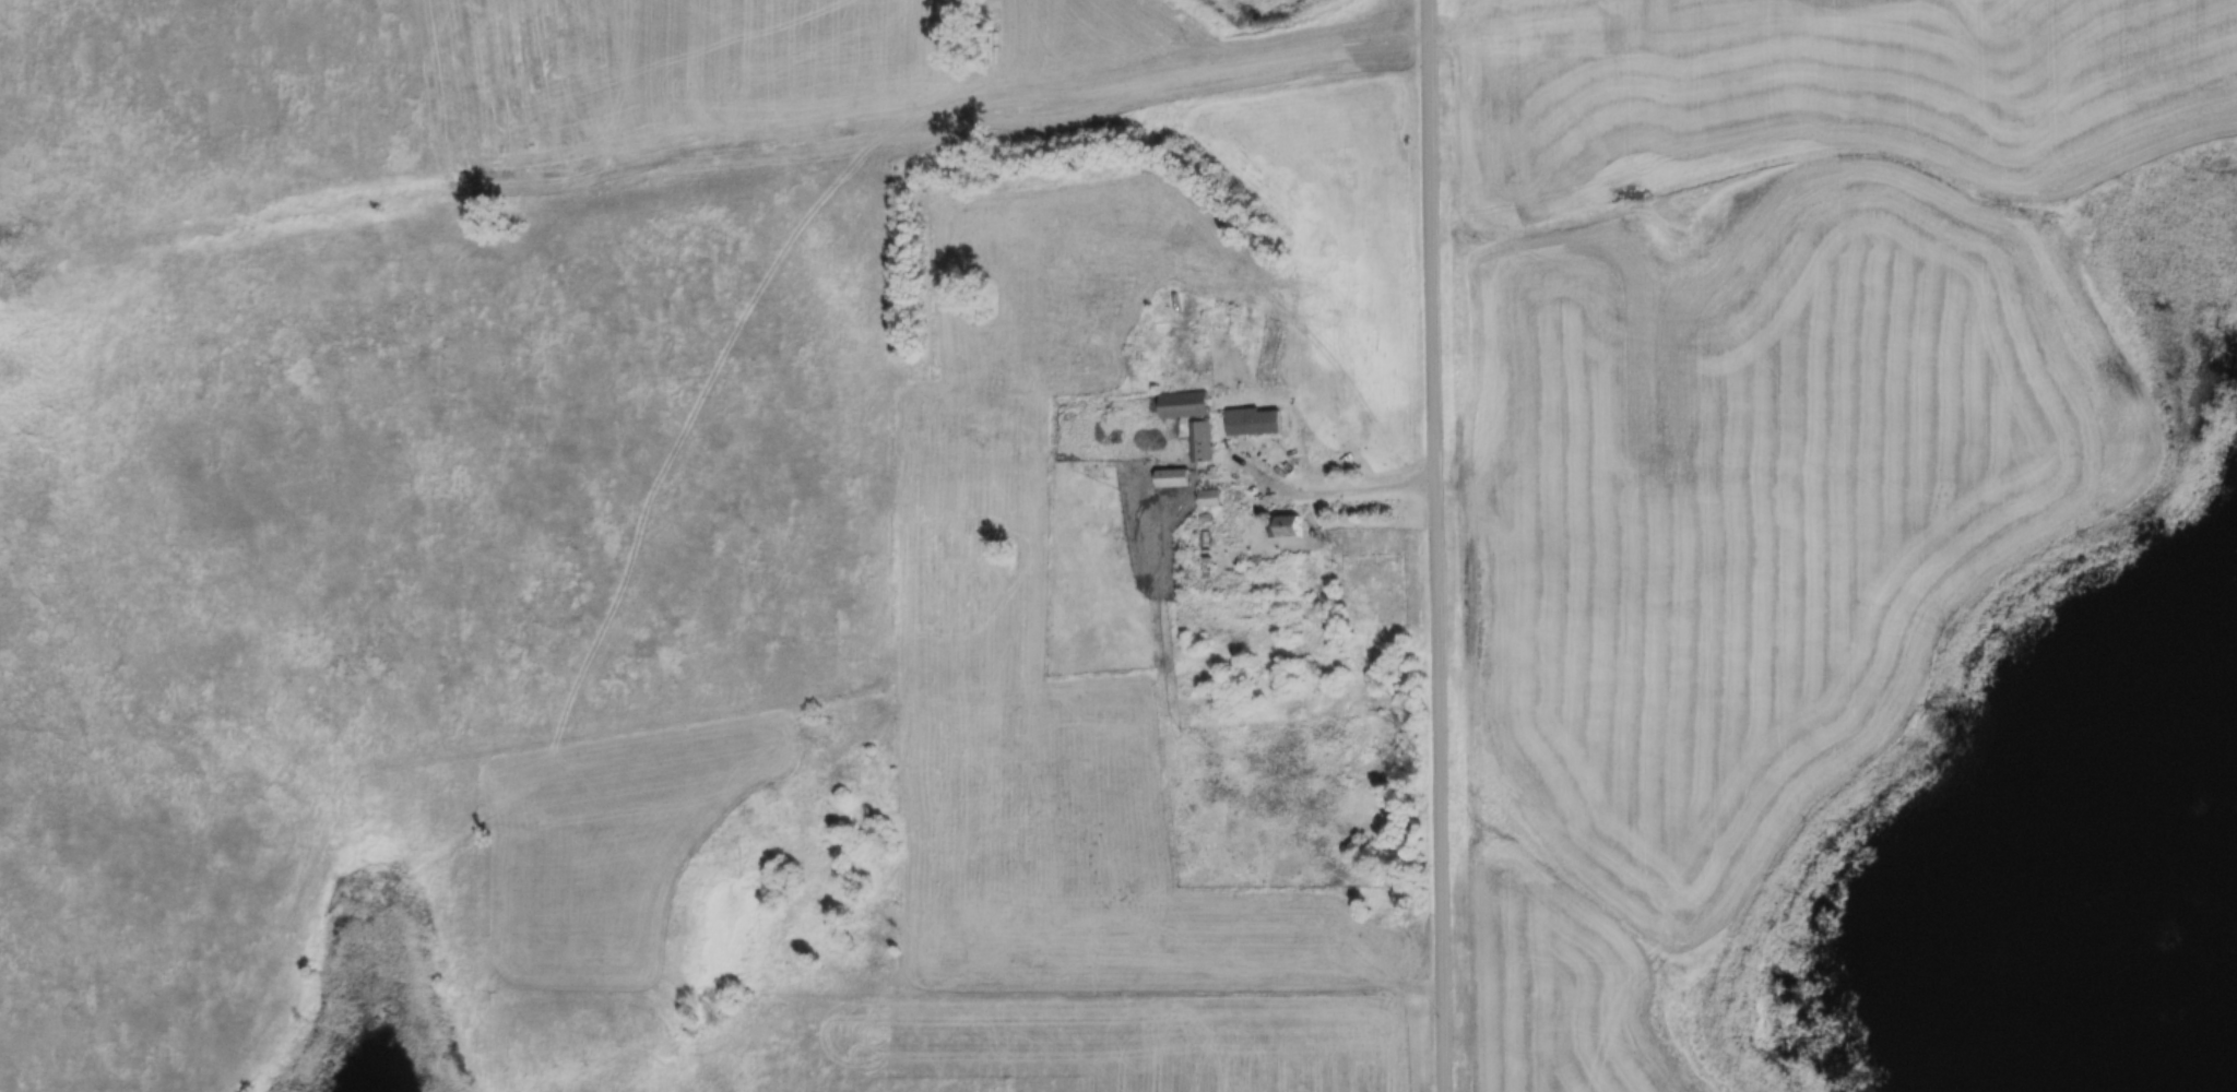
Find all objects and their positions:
building: (1182, 406)
building: (1199, 443)
building: (1171, 479)
building: (1285, 527)
road: (1439, 546)

